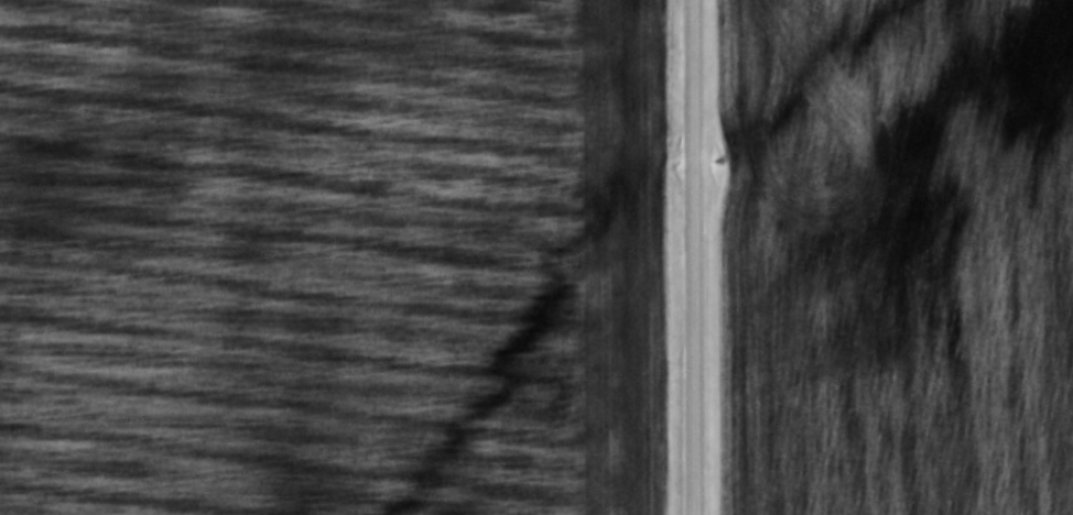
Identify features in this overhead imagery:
crop: (333, 256)
crop: (891, 256)
road: (696, 257)

